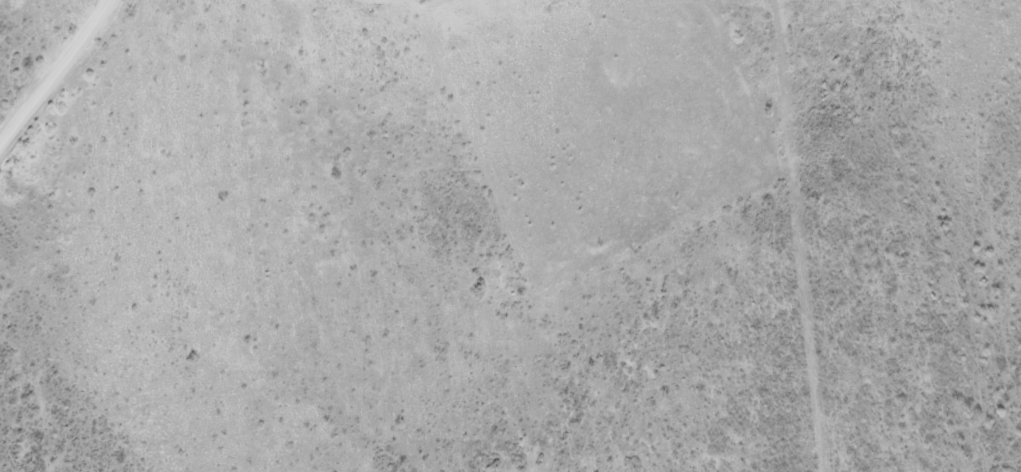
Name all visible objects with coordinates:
road: (54, 70)

